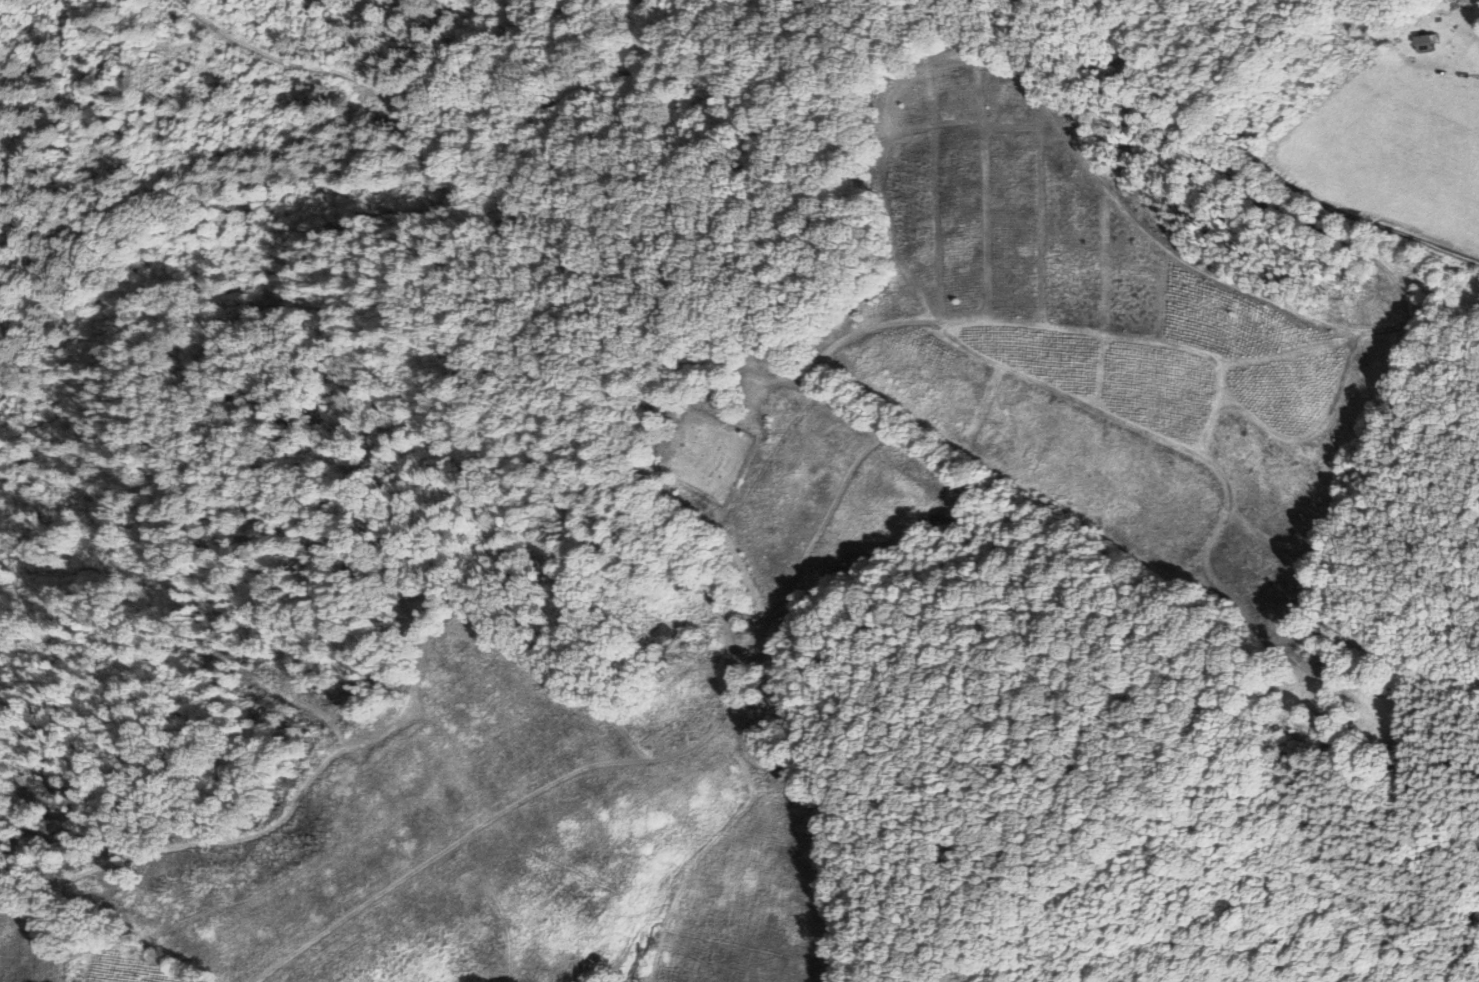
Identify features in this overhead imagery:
road: (1269, 186)
road: (577, 519)
building: (662, 634)
road: (811, 827)

